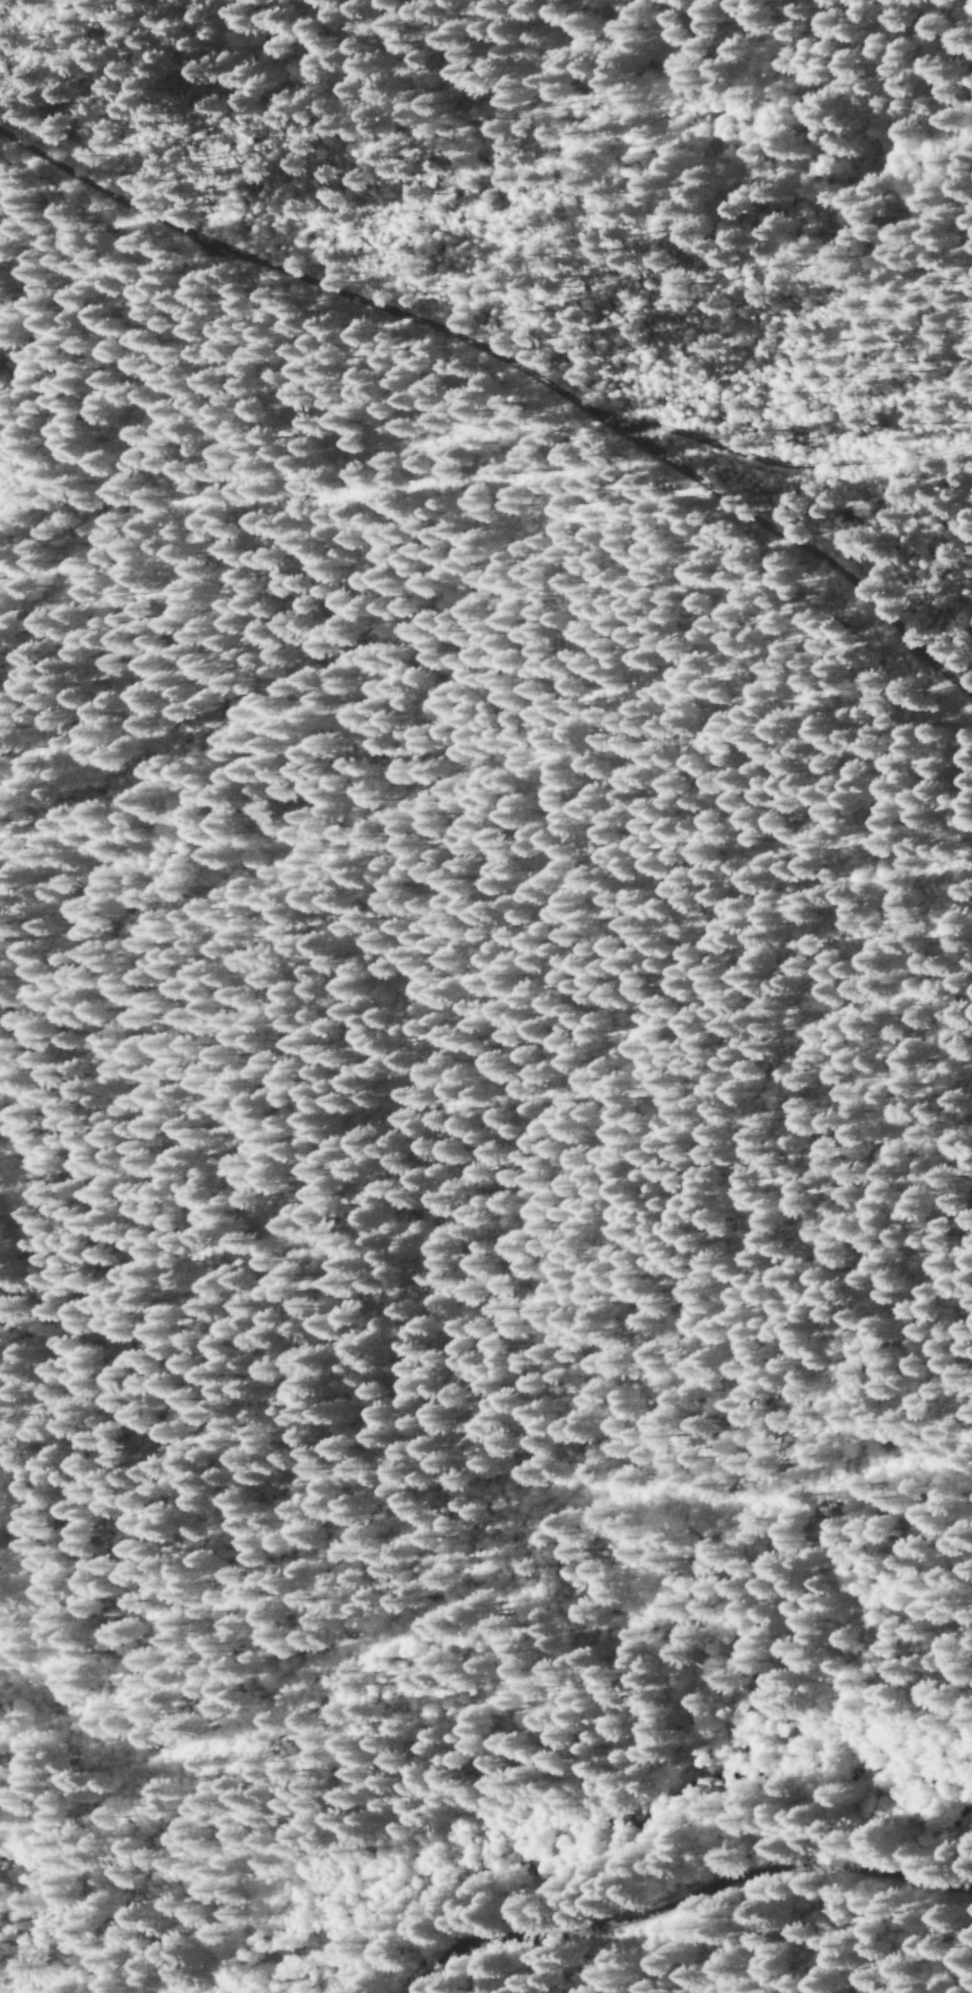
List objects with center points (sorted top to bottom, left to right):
road: (307, 282)
road: (657, 447)
river: (599, 1840)
road: (680, 1897)

